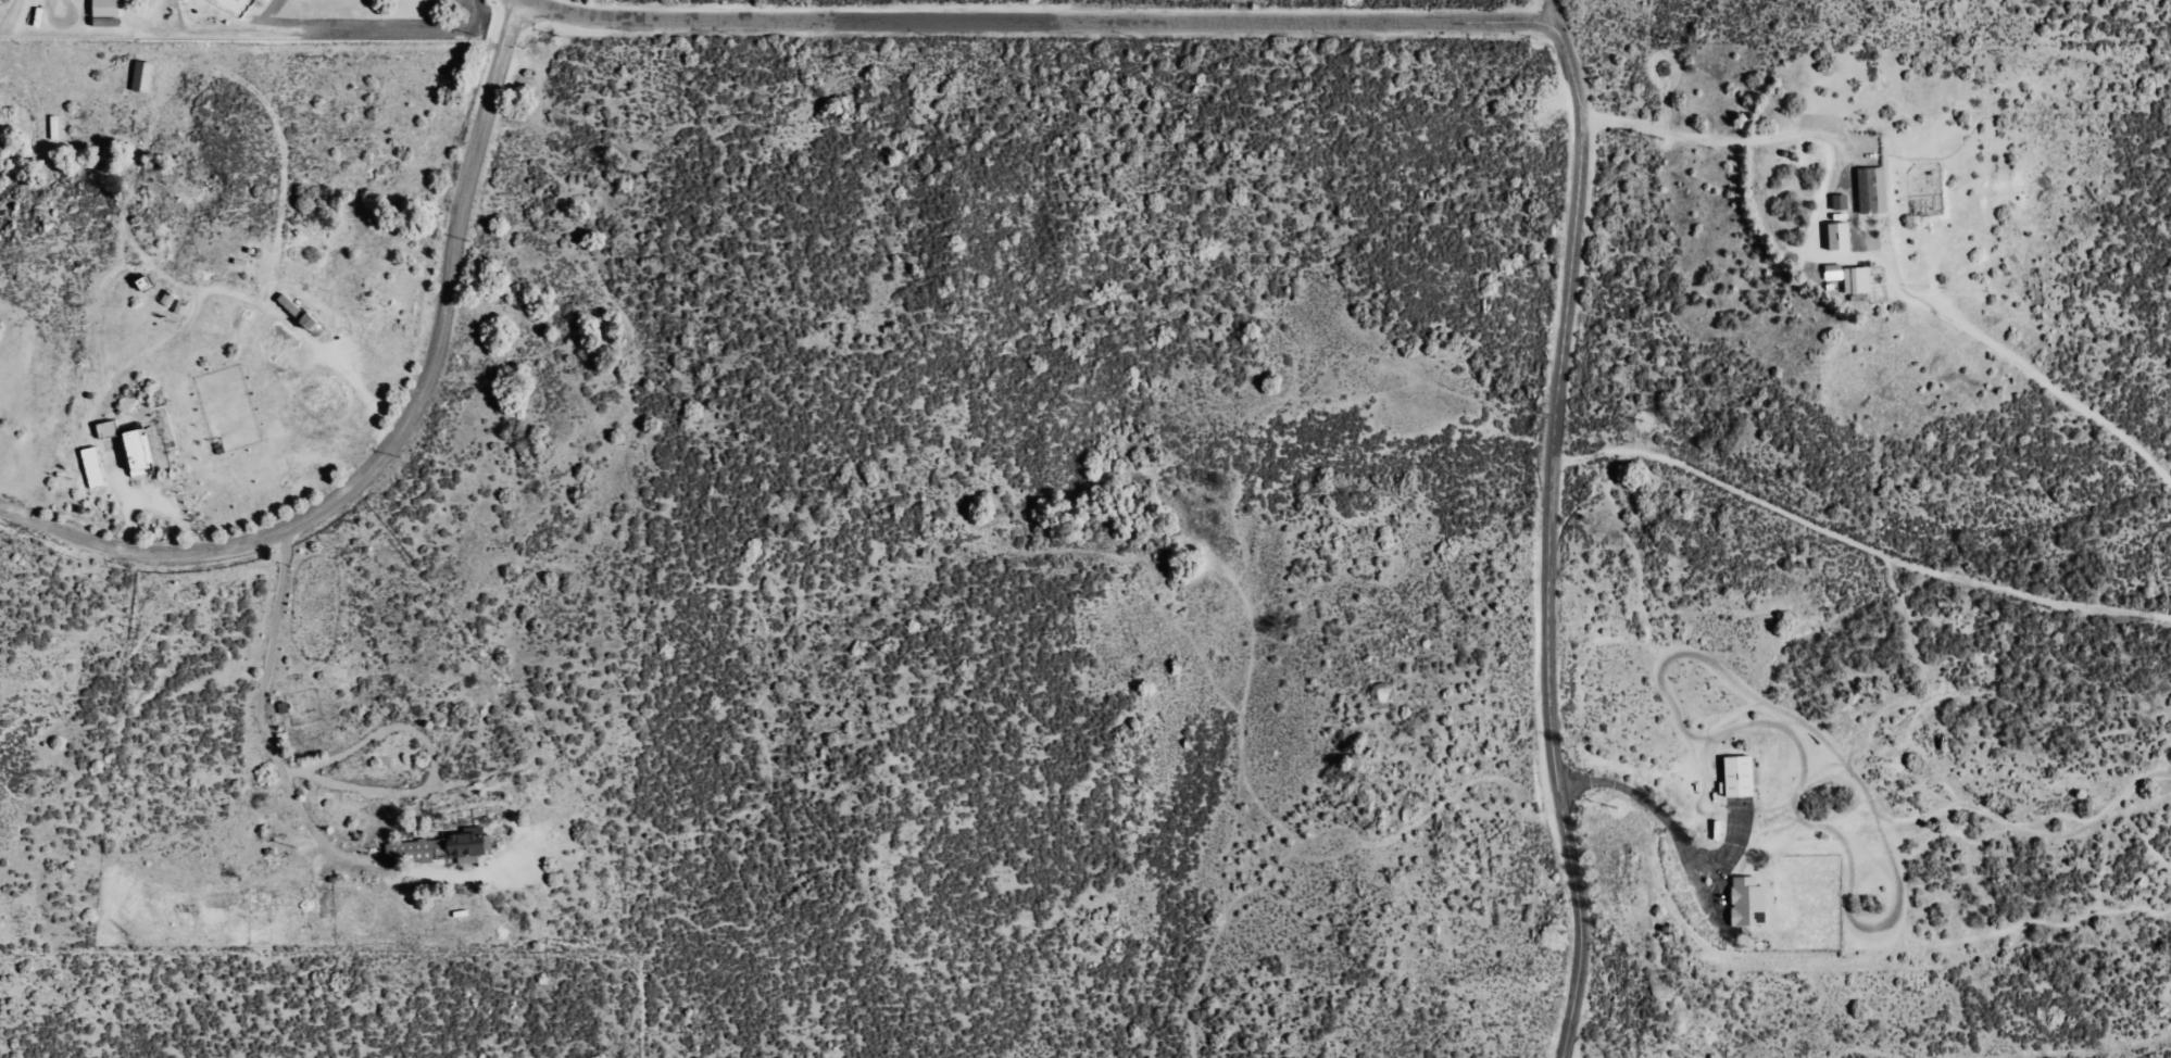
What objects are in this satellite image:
building: (246, 1)
road: (1555, 11)
road: (515, 12)
building: (109, 13)
road: (597, 16)
building: (145, 75)
building: (1837, 201)
building: (1835, 235)
building: (1853, 279)
building: (140, 451)
building: (96, 466)
road: (1552, 540)
road: (1857, 543)
building: (1745, 772)
building: (462, 842)
building: (1755, 898)

